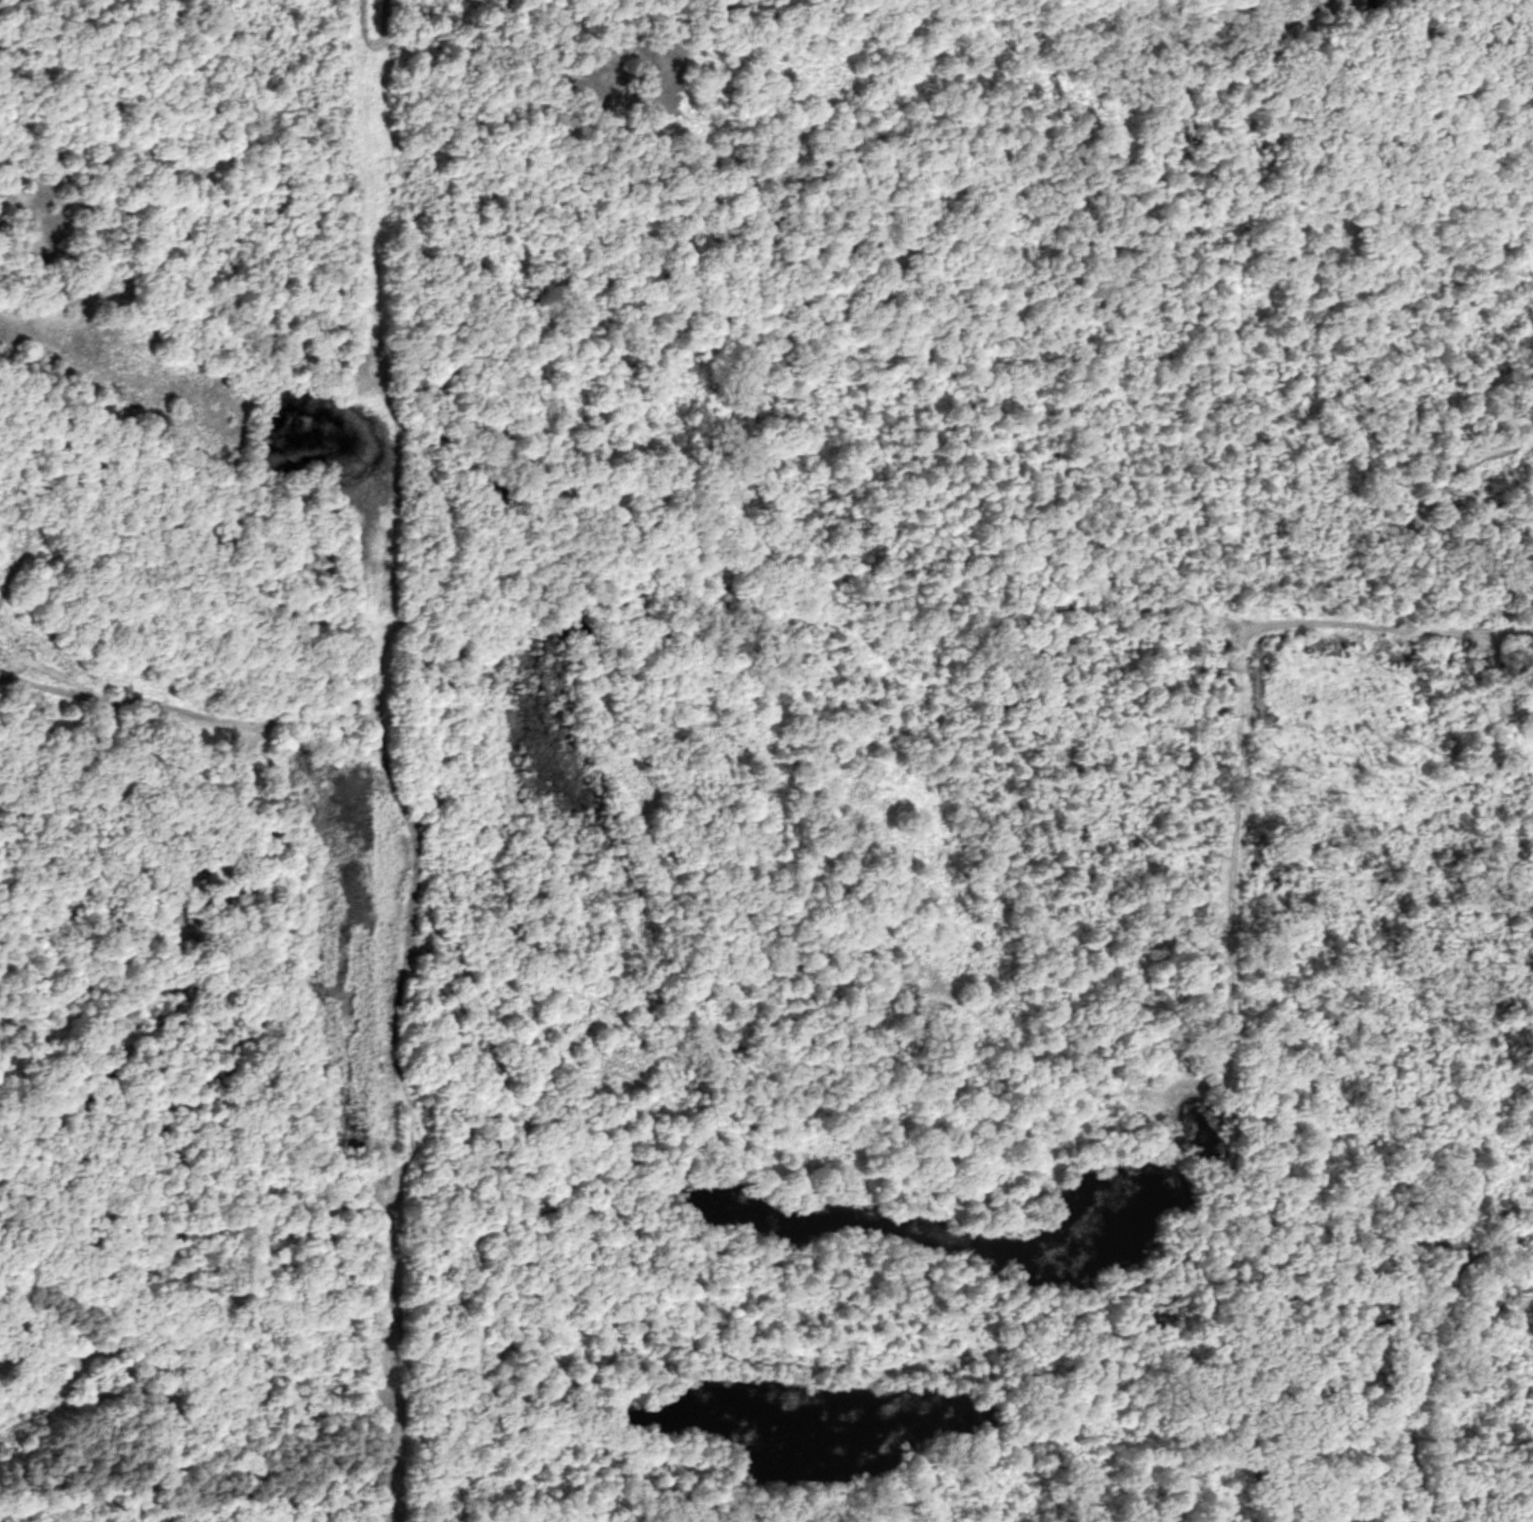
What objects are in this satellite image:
road: (387, 944)

